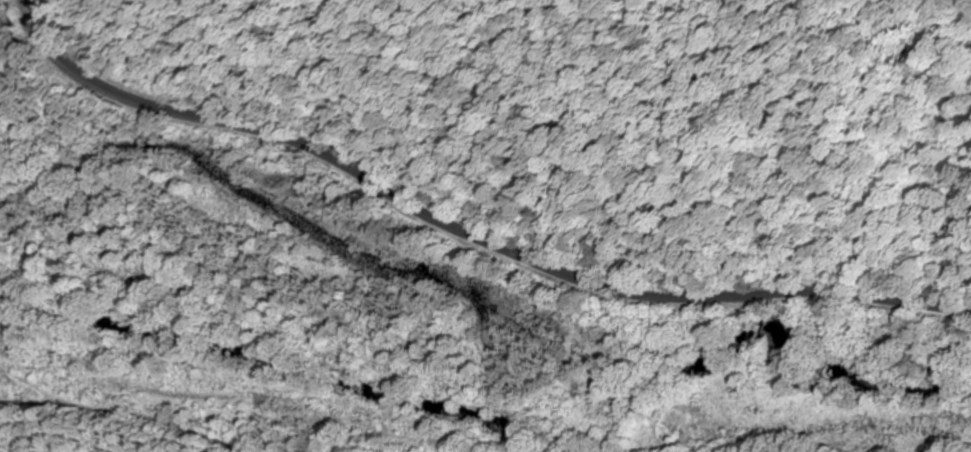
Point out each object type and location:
road: (461, 233)

